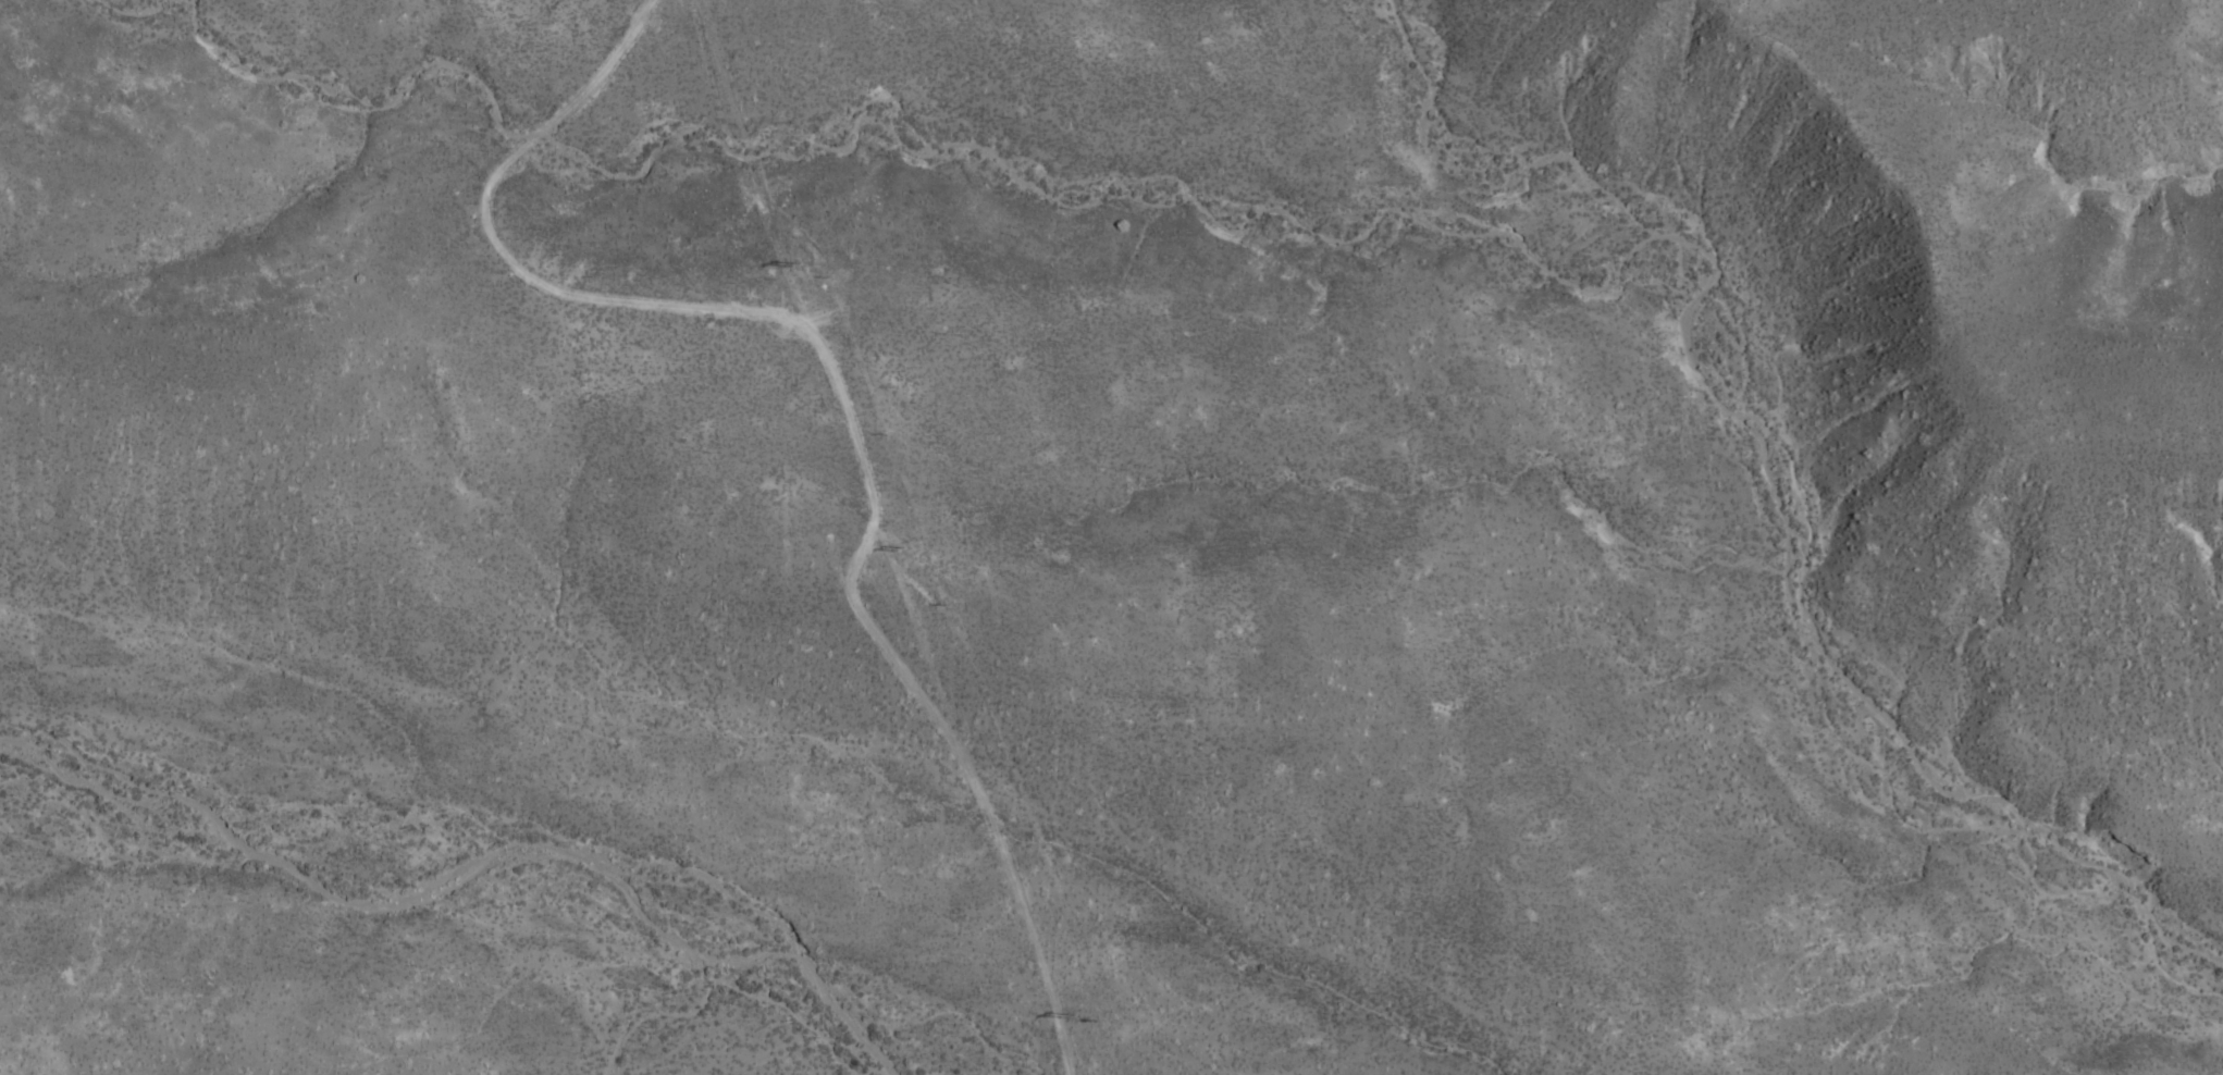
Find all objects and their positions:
road: (848, 407)

